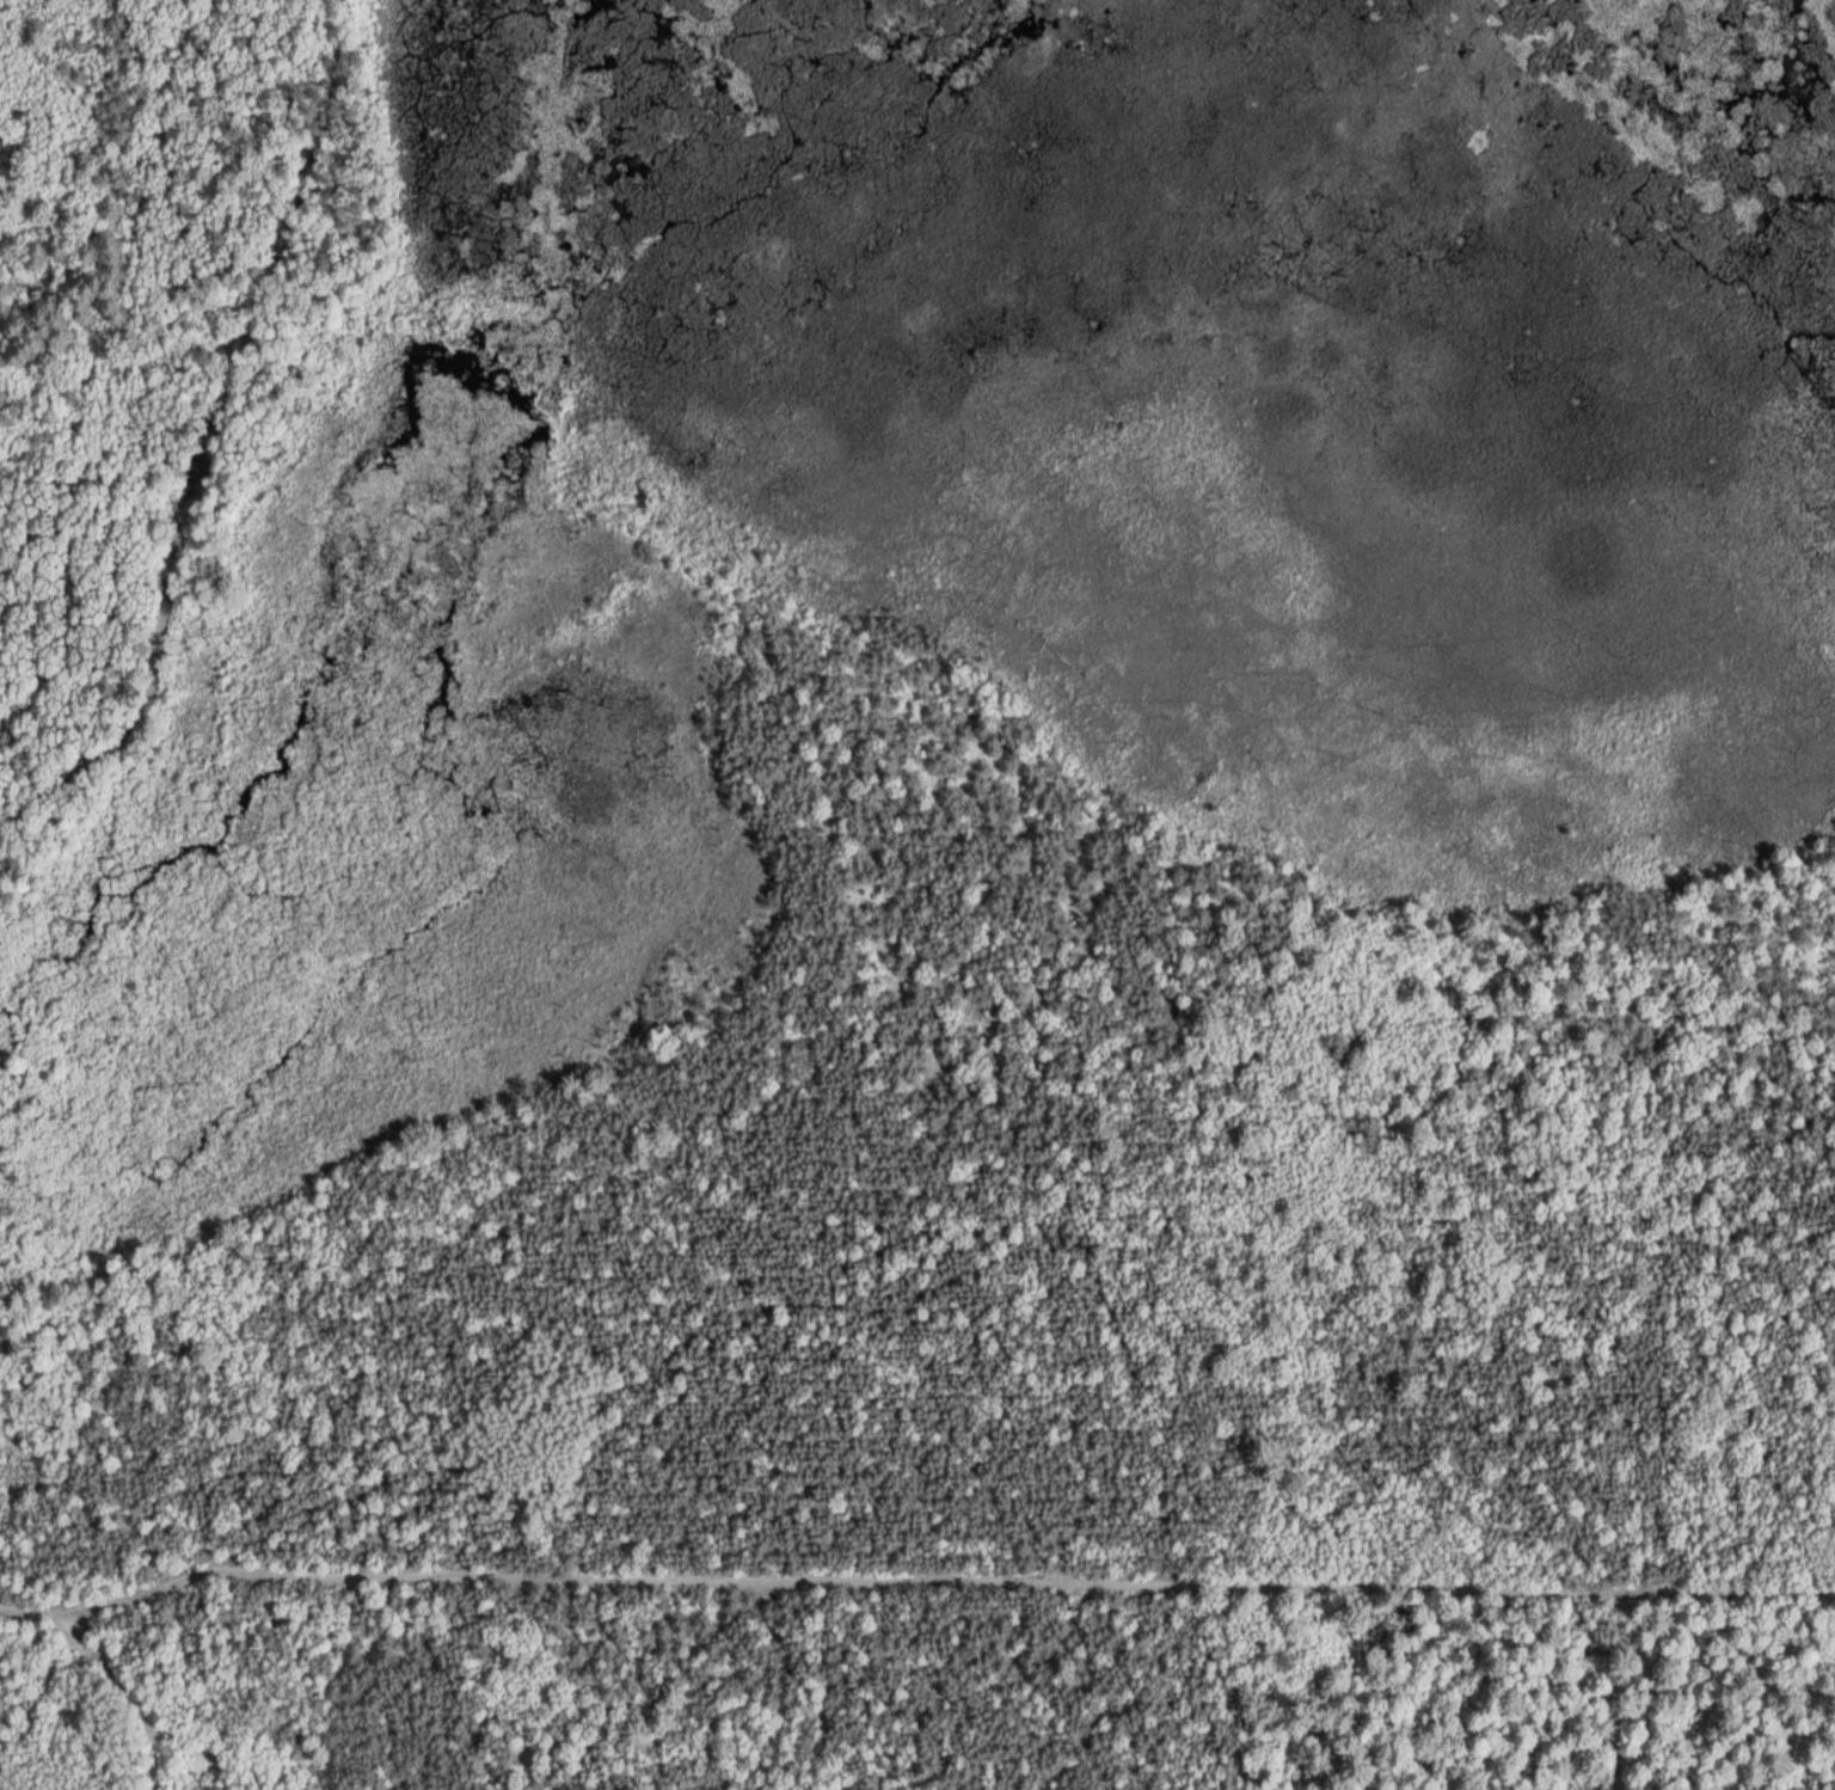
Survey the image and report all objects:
road: (198, 427)
road: (913, 1577)
road: (130, 1694)

